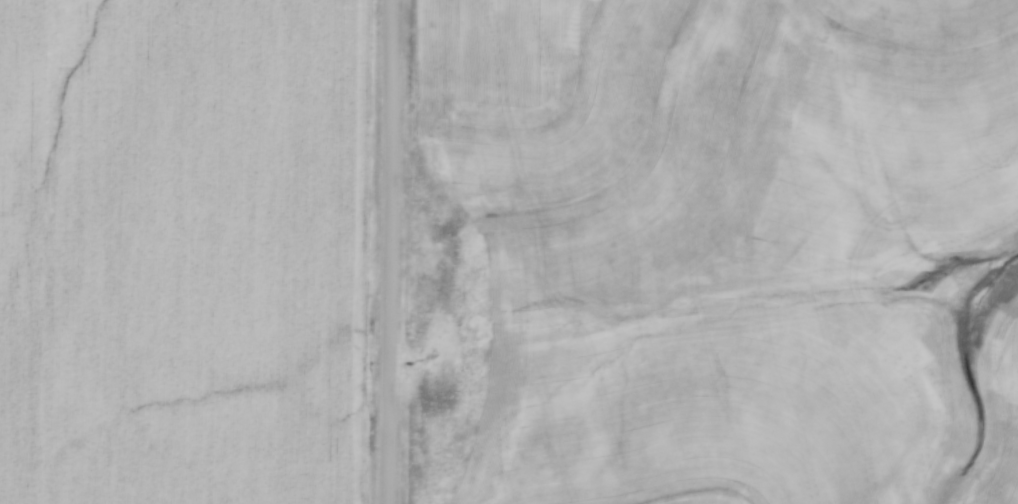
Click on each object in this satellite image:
road: (387, 252)

